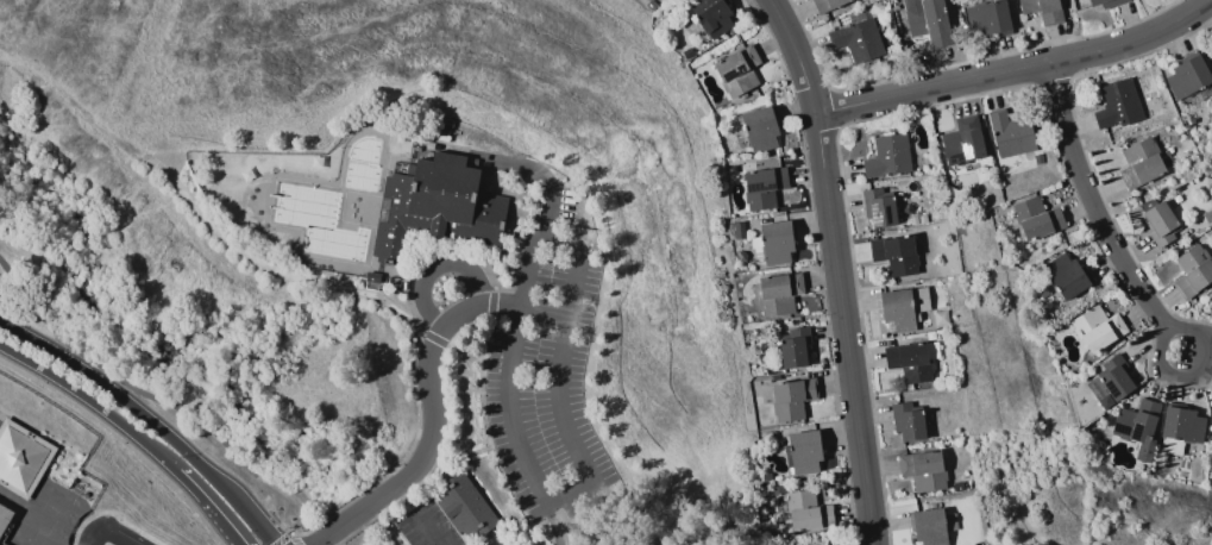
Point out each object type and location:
building: (1104, 2)
building: (824, 5)
building: (1041, 10)
building: (710, 15)
building: (985, 18)
building: (925, 20)
building: (858, 39)
road: (803, 59)
building: (735, 70)
building: (1186, 77)
road: (1021, 83)
building: (1116, 104)
building: (759, 127)
building: (1009, 133)
building: (961, 140)
building: (886, 156)
building: (1138, 163)
building: (761, 187)
building: (435, 205)
building: (879, 206)
road: (1093, 209)
building: (1034, 218)
building: (1158, 221)
building: (775, 243)
road: (576, 253)
building: (893, 255)
road: (523, 263)
road: (434, 267)
building: (1192, 270)
building: (1065, 275)
building: (777, 293)
building: (902, 307)
building: (1095, 327)
road: (848, 333)
building: (910, 359)
road: (1199, 371)
parking lot: (547, 378)
building: (1107, 382)
road: (169, 386)
building: (790, 397)
road: (149, 418)
building: (906, 420)
building: (1135, 421)
road: (433, 425)
building: (1179, 427)
building: (1211, 428)
road: (130, 432)
building: (803, 452)
building: (24, 457)
building: (921, 469)
road: (551, 503)
building: (463, 507)
building: (805, 512)
road: (416, 514)
building: (7, 524)
building: (930, 526)
road: (109, 537)
road: (564, 538)

